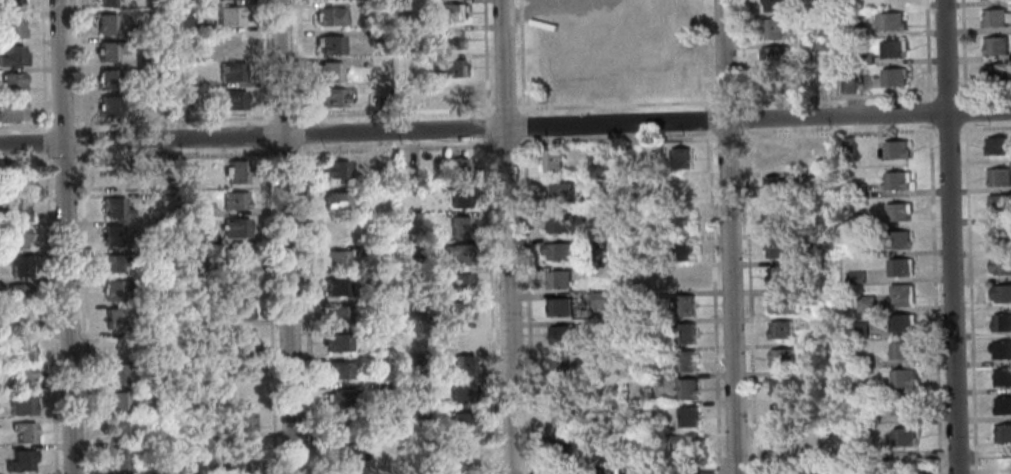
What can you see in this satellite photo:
building: (105, 2)
building: (11, 4)
building: (772, 5)
building: (449, 12)
building: (229, 16)
building: (331, 16)
building: (995, 17)
building: (818, 21)
building: (890, 21)
building: (106, 24)
building: (185, 25)
building: (11, 28)
building: (130, 28)
building: (773, 28)
building: (853, 29)
building: (377, 35)
building: (447, 40)
building: (230, 43)
building: (332, 45)
building: (818, 45)
building: (995, 45)
building: (893, 48)
building: (565, 49)
road: (926, 49)
building: (109, 50)
road: (962, 50)
road: (741, 53)
building: (773, 55)
building: (12, 56)
building: (864, 59)
road: (43, 65)
road: (78, 65)
building: (451, 68)
building: (232, 71)
building: (331, 72)
building: (996, 73)
building: (626, 76)
building: (893, 76)
building: (107, 79)
building: (12, 83)
building: (774, 83)
building: (848, 85)
road: (983, 91)
road: (946, 93)
building: (453, 94)
building: (332, 97)
road: (835, 97)
building: (183, 99)
building: (232, 100)
road: (725, 101)
building: (108, 106)
road: (706, 106)
building: (161, 107)
building: (12, 110)
road: (964, 110)
road: (928, 111)
road: (393, 112)
road: (868, 115)
road: (743, 118)
road: (706, 120)
road: (62, 124)
road: (614, 124)
road: (25, 125)
road: (984, 127)
road: (947, 129)
road: (743, 132)
road: (835, 132)
road: (251, 136)
road: (725, 136)
road: (616, 139)
road: (81, 141)
road: (45, 142)
road: (506, 143)
building: (846, 144)
building: (823, 145)
building: (998, 145)
road: (397, 146)
building: (896, 149)
road: (285, 150)
road: (172, 155)
building: (626, 155)
building: (772, 155)
building: (680, 158)
road: (63, 159)
road: (26, 160)
building: (551, 160)
building: (454, 167)
building: (335, 170)
building: (236, 172)
building: (814, 176)
building: (999, 176)
building: (897, 179)
building: (110, 180)
building: (187, 180)
building: (14, 182)
building: (602, 182)
building: (776, 184)
building: (682, 189)
building: (857, 190)
building: (559, 193)
building: (461, 197)
building: (236, 200)
building: (336, 200)
building: (1000, 206)
building: (115, 208)
building: (204, 208)
building: (17, 210)
building: (898, 211)
building: (773, 217)
building: (682, 220)
building: (854, 220)
building: (567, 223)
building: (461, 226)
building: (236, 228)
building: (337, 232)
building: (111, 235)
road: (65, 236)
road: (270, 236)
road: (286, 236)
road: (305, 236)
road: (491, 236)
road: (507, 236)
road: (526, 236)
road: (728, 236)
road: (949, 236)
building: (16, 238)
building: (208, 239)
building: (897, 239)
building: (1001, 239)
building: (824, 240)
building: (592, 241)
building: (775, 246)
building: (417, 247)
building: (364, 250)
building: (683, 250)
building: (558, 251)
building: (461, 254)
building: (237, 256)
building: (334, 260)
building: (192, 263)
building: (113, 264)
building: (819, 264)
building: (18, 266)
building: (1001, 266)
building: (900, 267)
building: (781, 275)
building: (417, 277)
building: (684, 277)
building: (855, 277)
building: (558, 278)
building: (240, 282)
building: (458, 282)
building: (336, 287)
building: (116, 289)
building: (1000, 293)
building: (17, 294)
building: (902, 294)
road: (934, 298)
road: (970, 298)
building: (599, 299)
road: (713, 302)
building: (782, 303)
building: (865, 303)
building: (685, 305)
building: (559, 307)
building: (830, 308)
building: (241, 310)
building: (459, 310)
road: (50, 313)
road: (87, 313)
building: (338, 315)
building: (114, 318)
building: (20, 321)
building: (901, 322)
building: (1002, 322)
building: (859, 329)
building: (413, 330)
building: (780, 330)
building: (371, 331)
building: (685, 333)
building: (561, 334)
building: (241, 338)
building: (464, 338)
building: (338, 343)
building: (902, 349)
building: (1001, 349)
building: (22, 350)
building: (649, 353)
building: (781, 357)
building: (413, 359)
building: (686, 361)
building: (562, 362)
building: (464, 365)
building: (240, 366)
building: (338, 370)
building: (116, 373)
building: (19, 377)
building: (903, 377)
building: (1002, 377)
building: (654, 380)
building: (779, 385)
building: (386, 386)
building: (858, 387)
building: (687, 389)
building: (563, 390)
building: (462, 393)
building: (241, 394)
building: (342, 398)
building: (116, 401)
building: (903, 405)
building: (1003, 405)
building: (21, 406)
building: (418, 413)
building: (780, 413)
building: (863, 414)
building: (387, 415)
building: (688, 416)
building: (562, 417)
building: (463, 421)
building: (242, 422)
building: (338, 426)
building: (125, 429)
building: (24, 432)
building: (213, 432)
building: (1002, 432)
building: (597, 436)
building: (903, 436)
building: (781, 440)
building: (683, 442)
building: (562, 444)
building: (243, 449)
building: (464, 449)
building: (343, 453)
building: (118, 460)
building: (21, 461)
building: (215, 462)
building: (766, 469)
building: (705, 472)
building: (801, 472)
building: (924, 472)
building: (634, 473)

